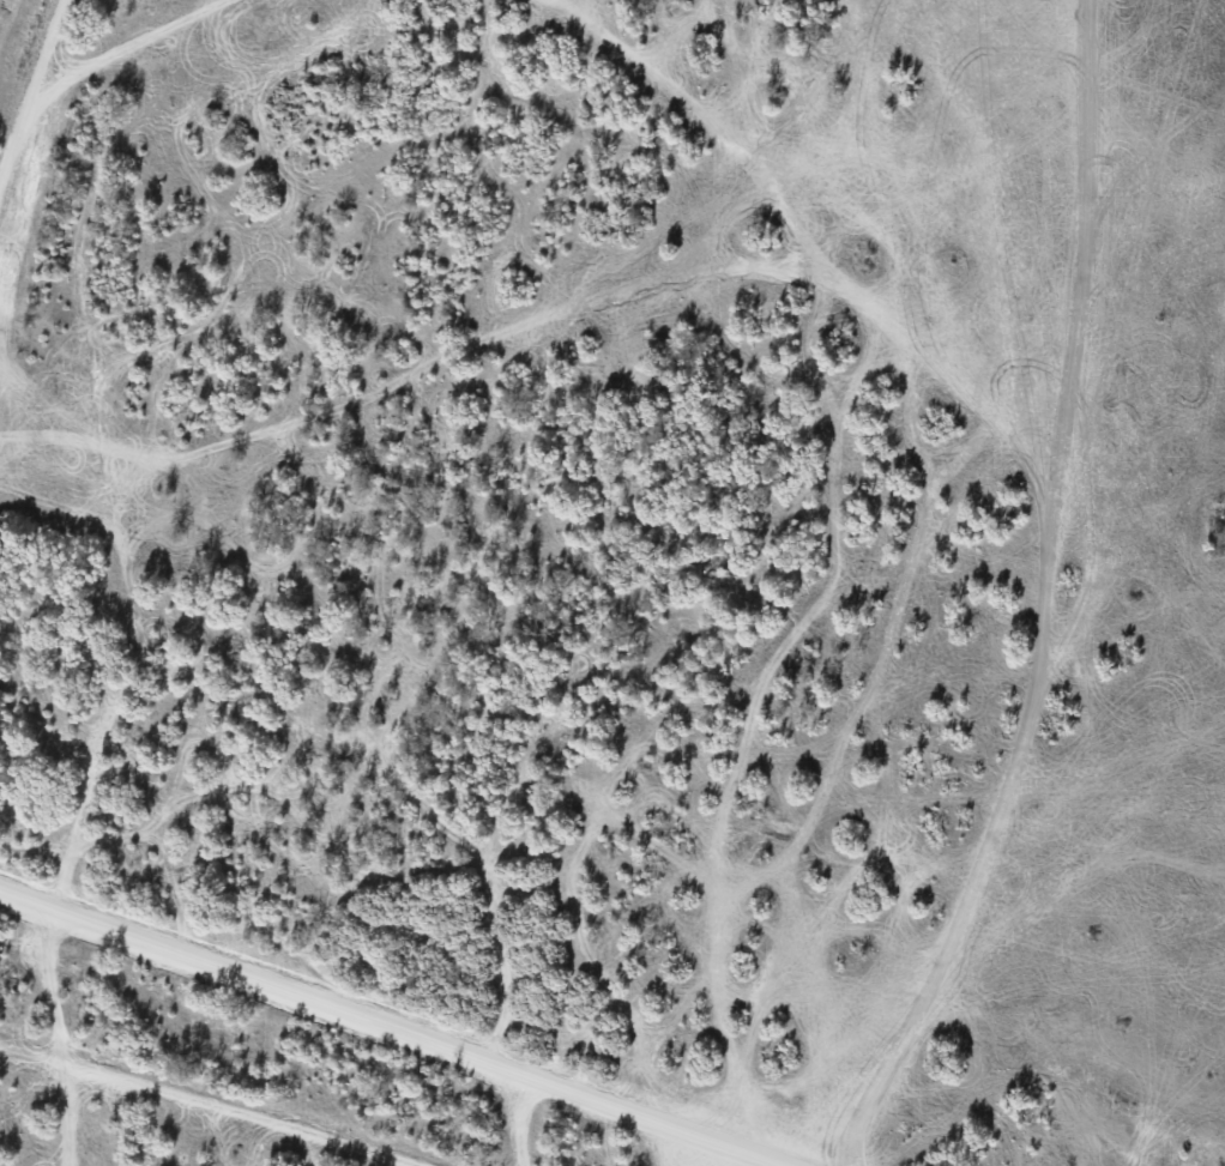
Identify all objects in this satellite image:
road: (404, 1025)

